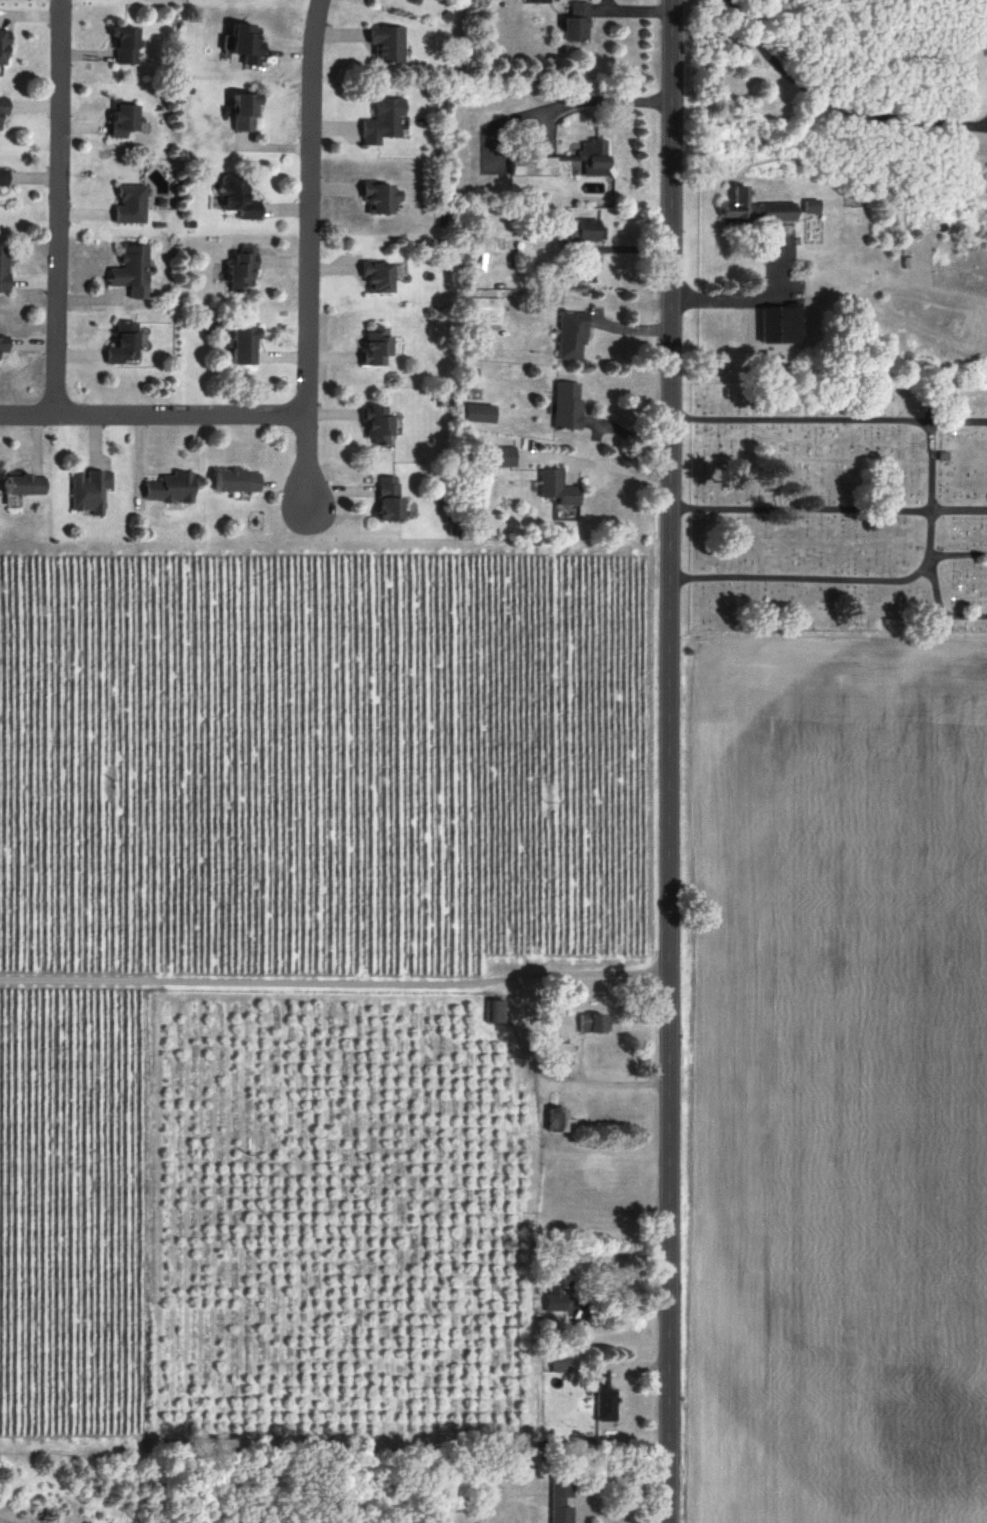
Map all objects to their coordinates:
building: (416, 3)
road: (638, 7)
building: (578, 25)
building: (389, 45)
building: (3, 46)
building: (242, 46)
building: (126, 47)
road: (597, 100)
road: (834, 105)
building: (3, 110)
building: (248, 114)
building: (125, 121)
road: (986, 122)
building: (384, 123)
road: (986, 124)
building: (595, 160)
building: (536, 169)
building: (4, 178)
building: (240, 196)
building: (382, 198)
building: (810, 204)
building: (133, 206)
road: (61, 208)
building: (754, 208)
building: (584, 231)
road: (309, 256)
building: (133, 270)
building: (245, 271)
building: (587, 272)
building: (4, 273)
building: (381, 276)
road: (751, 294)
building: (779, 321)
building: (574, 337)
building: (5, 345)
building: (127, 346)
building: (247, 346)
building: (378, 348)
building: (569, 407)
building: (483, 416)
road: (154, 417)
road: (830, 423)
building: (380, 427)
building: (508, 459)
road: (619, 467)
building: (241, 484)
building: (26, 486)
building: (176, 490)
building: (560, 490)
building: (93, 494)
building: (392, 502)
road: (830, 513)
road: (880, 583)
road: (935, 583)
road: (672, 761)
building: (495, 1009)
building: (594, 1021)
building: (560, 1051)
crop: (848, 1108)
building: (559, 1287)
building: (561, 1362)
building: (605, 1396)
building: (561, 1500)

